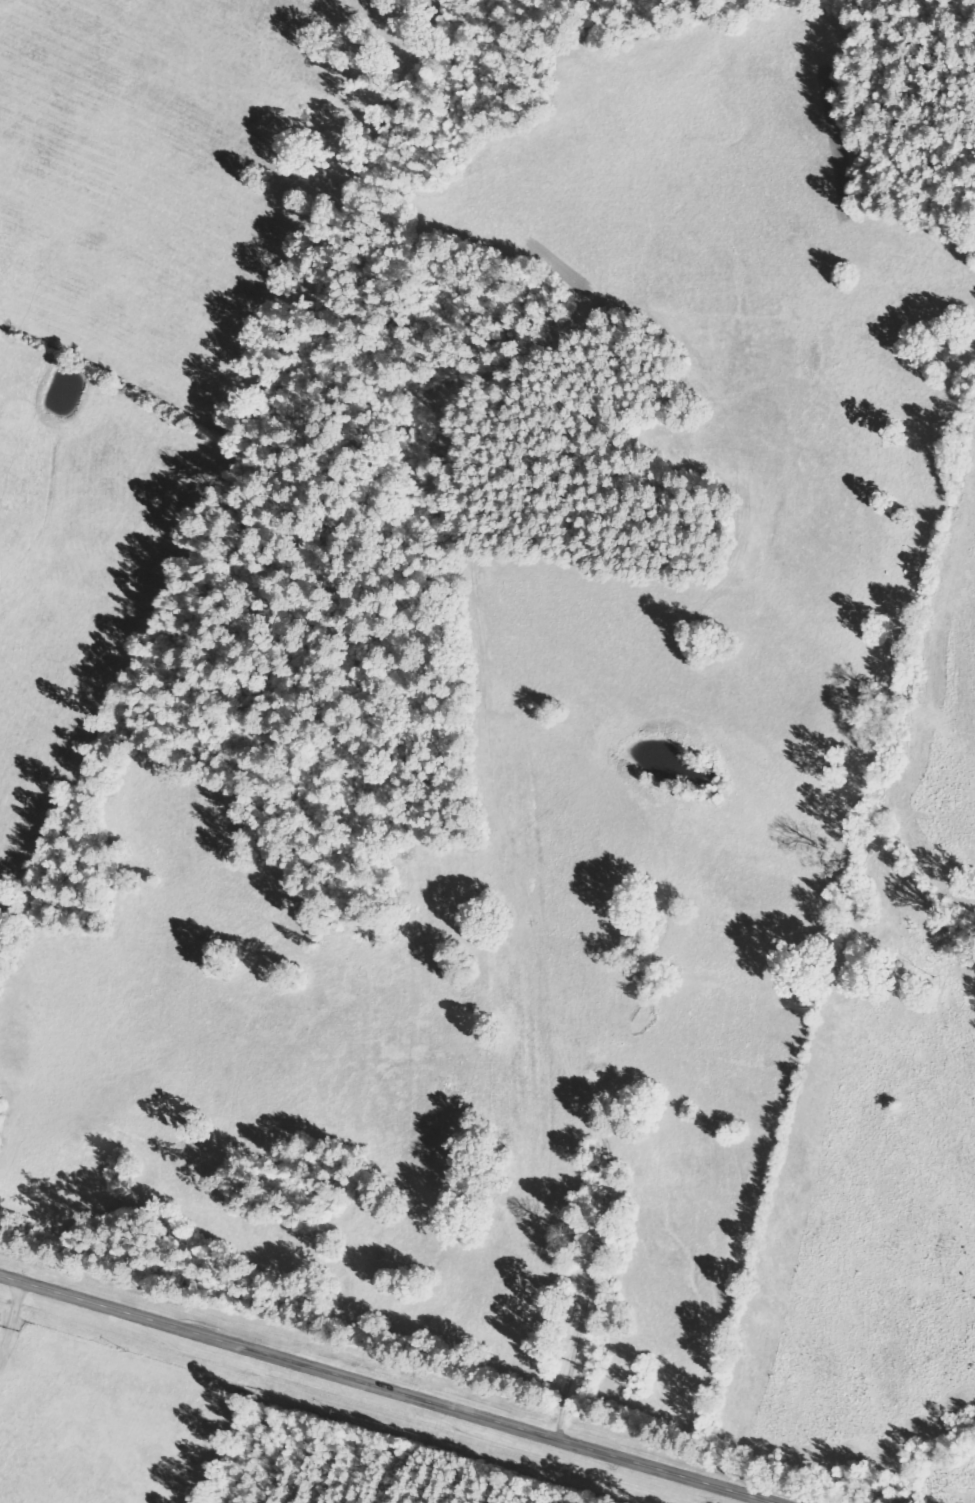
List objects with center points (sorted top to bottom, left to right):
road: (387, 1388)

